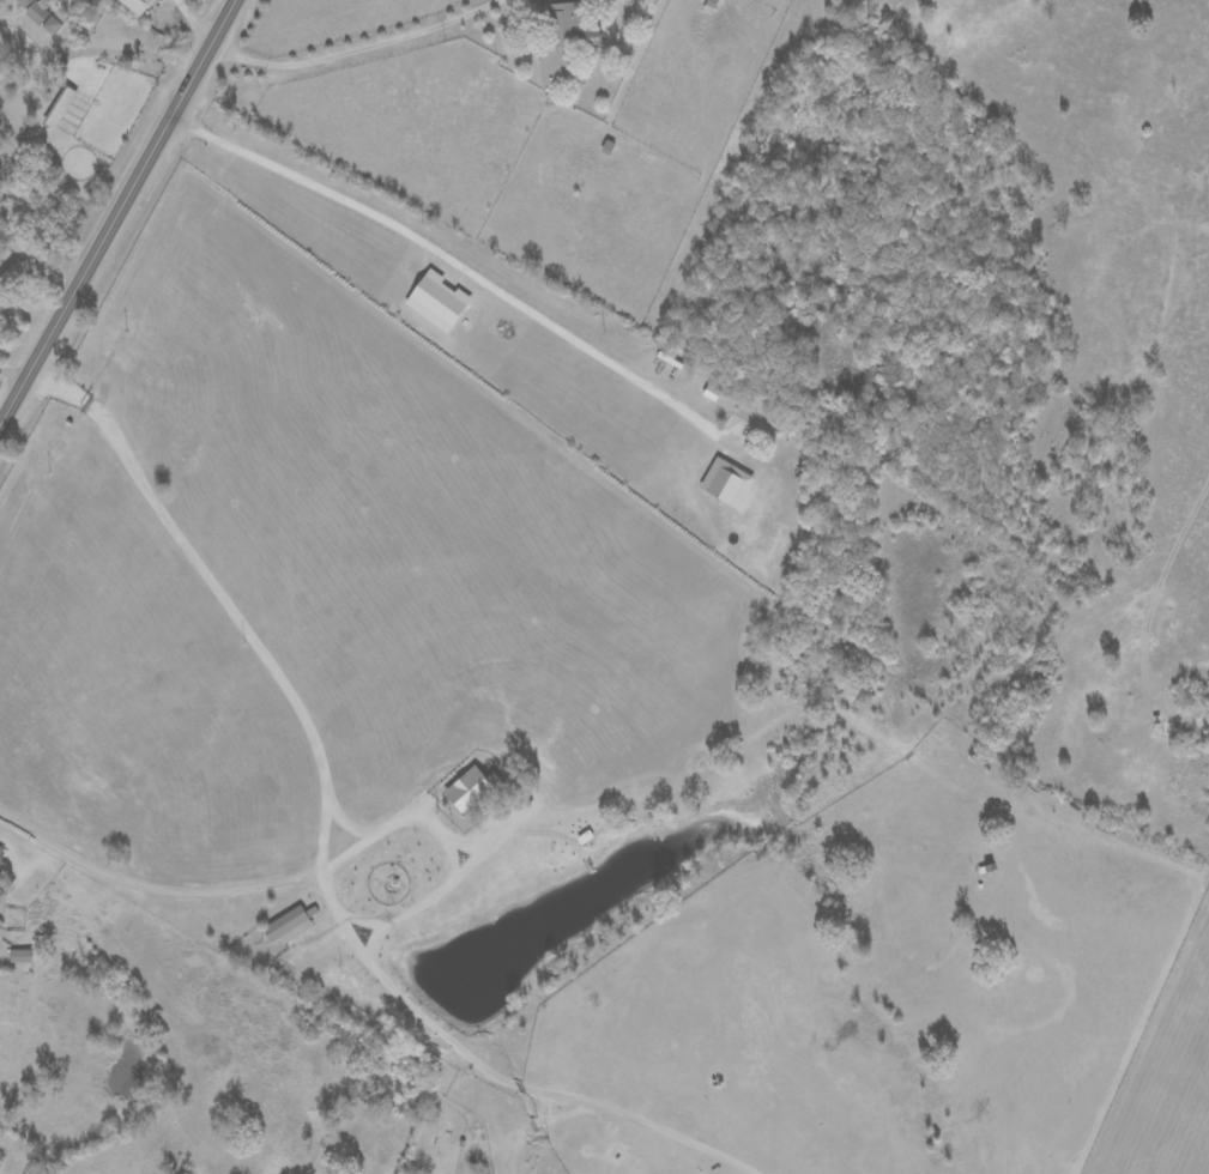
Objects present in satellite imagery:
building: (137, 5)
building: (38, 14)
road: (191, 20)
building: (562, 44)
road: (350, 52)
road: (111, 54)
building: (59, 107)
road: (113, 207)
road: (453, 265)
building: (437, 302)
building: (726, 483)
building: (471, 789)
building: (1, 851)
road: (458, 854)
building: (288, 926)
building: (19, 956)
road: (365, 966)

